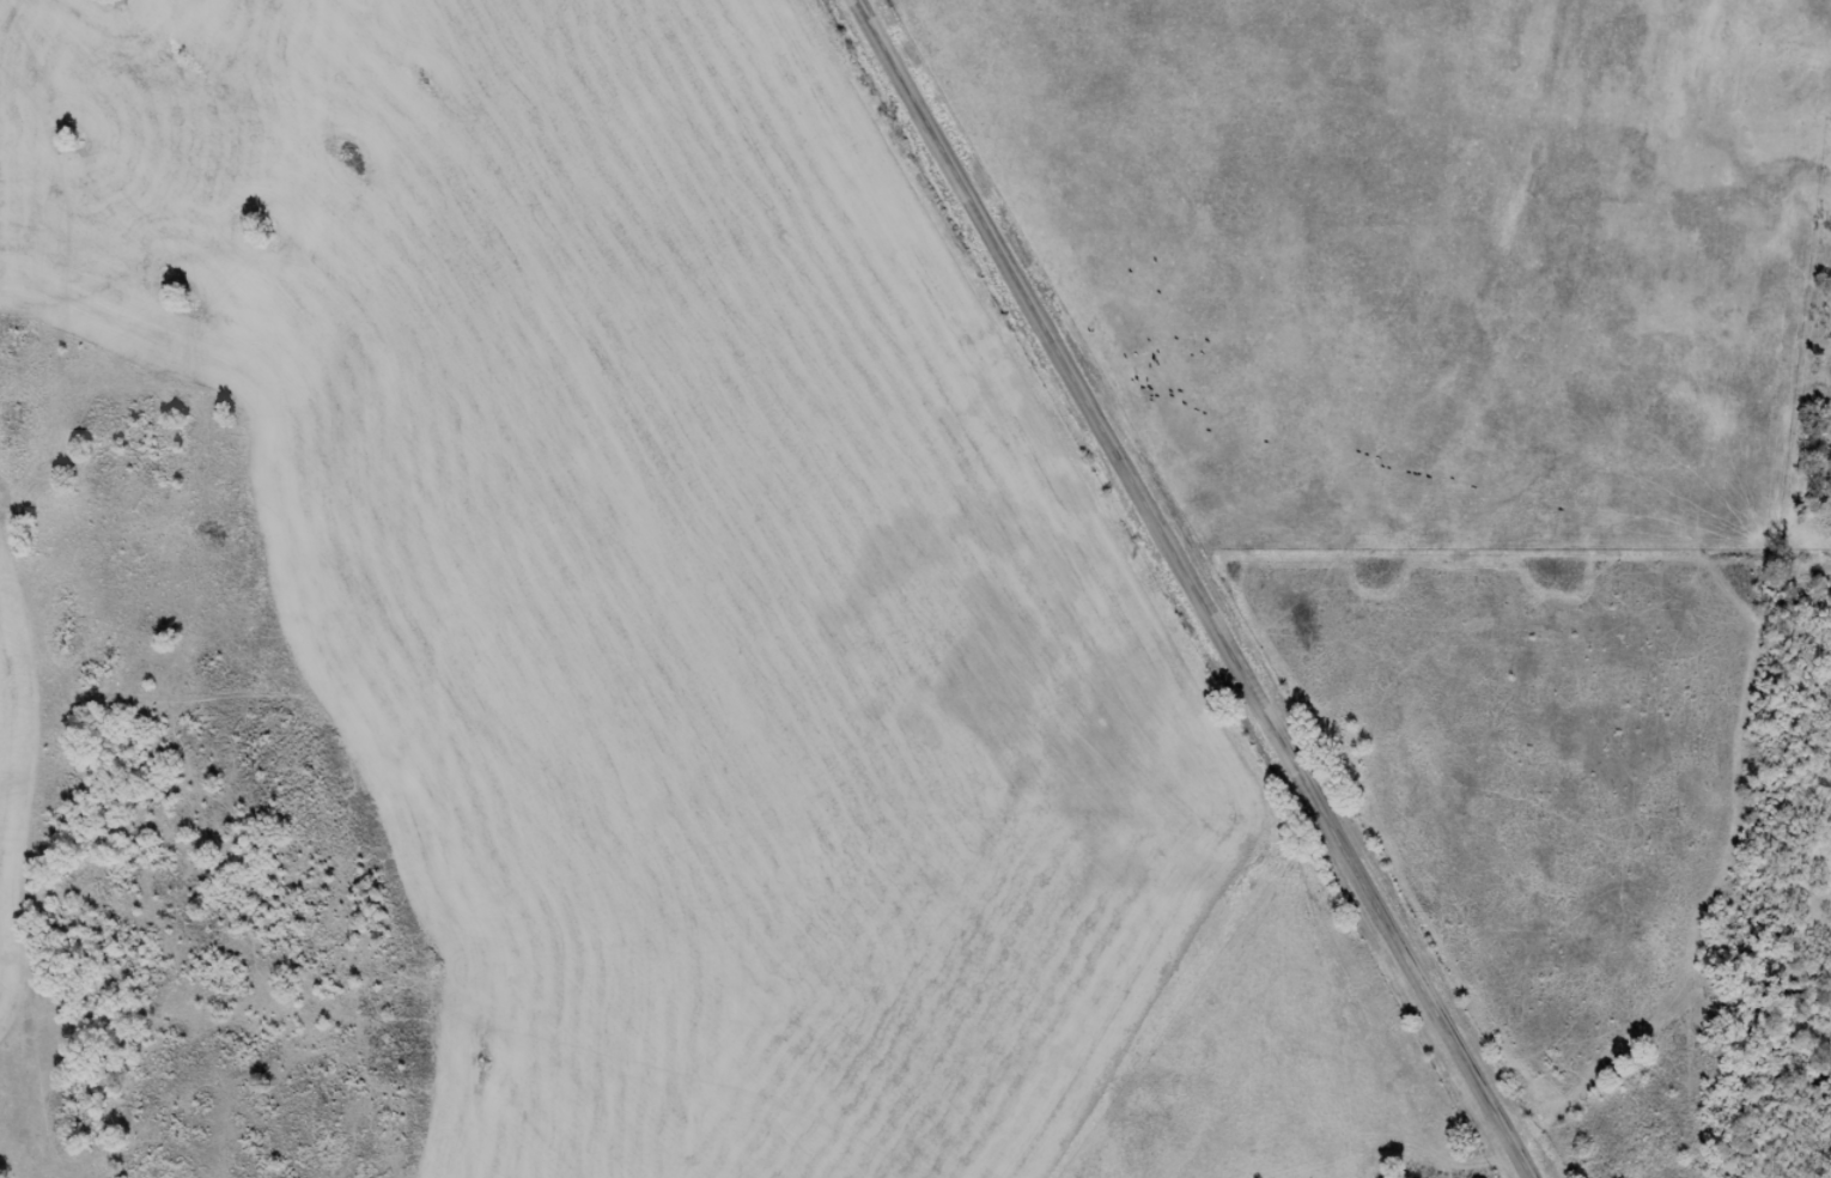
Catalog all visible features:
road: (1199, 590)

